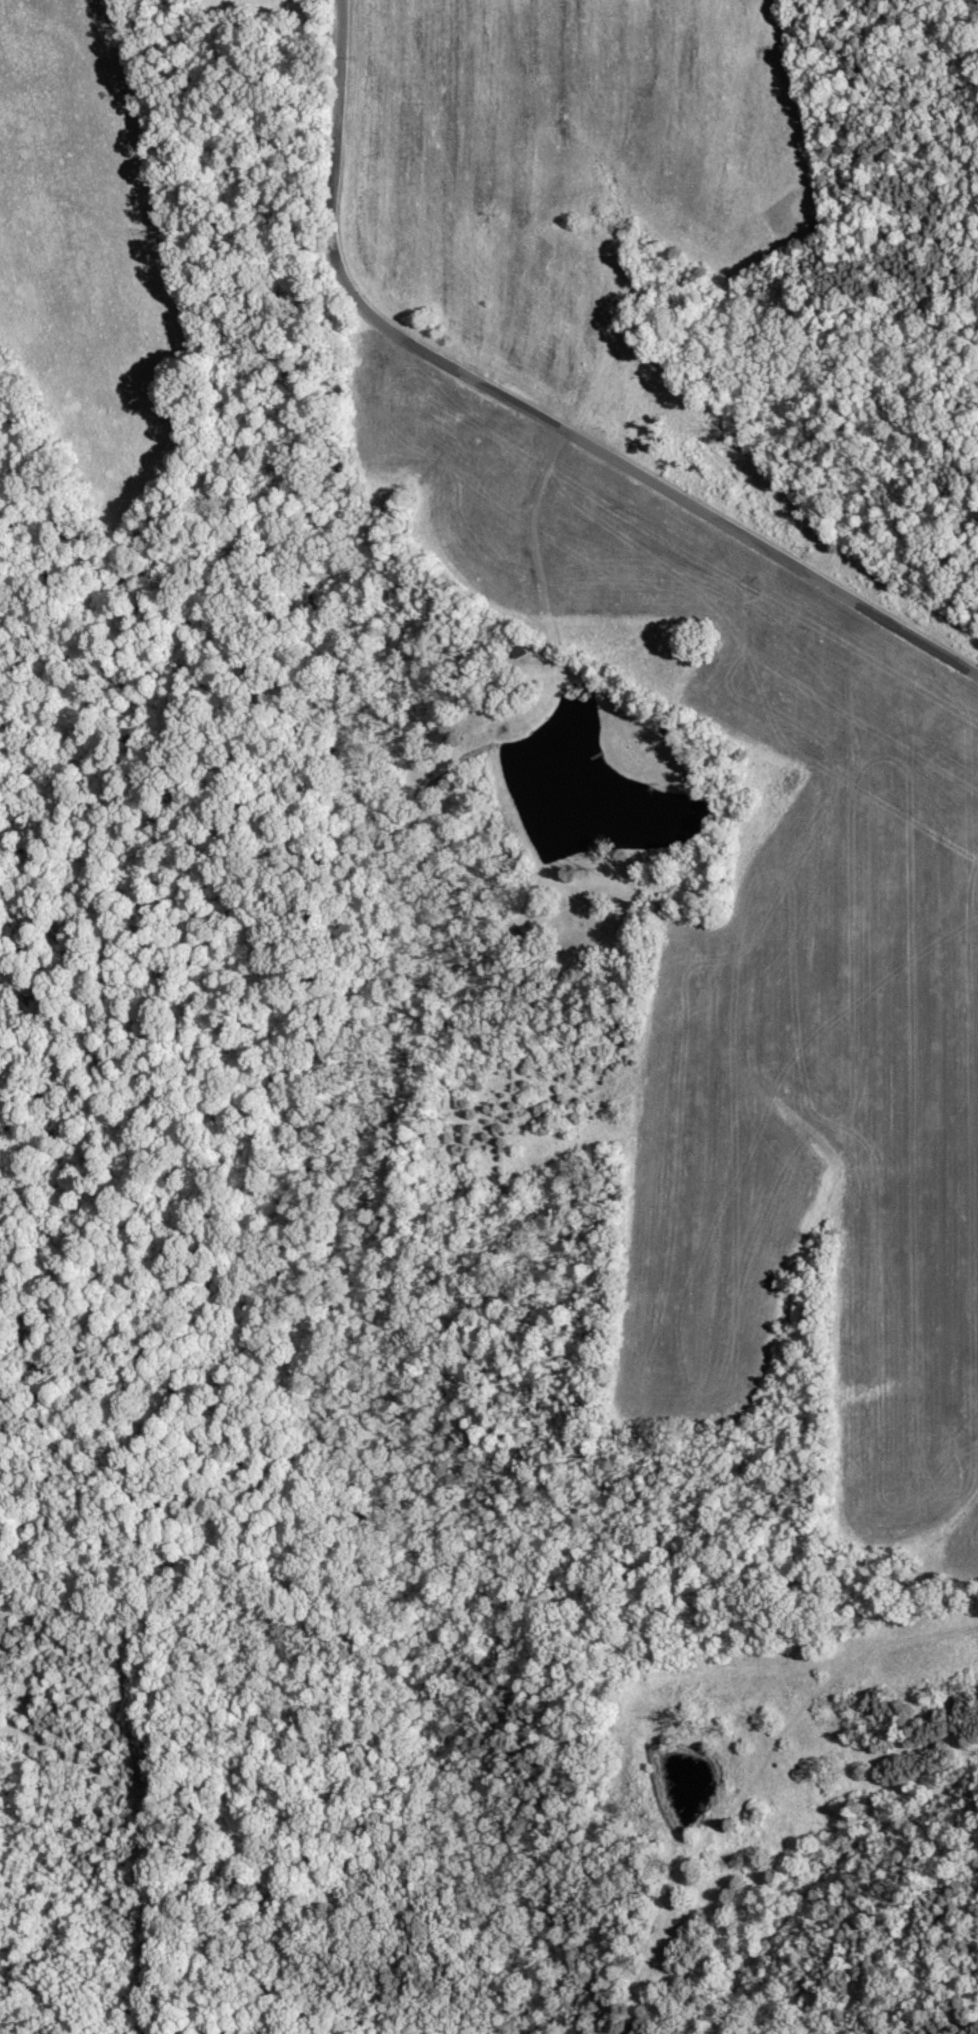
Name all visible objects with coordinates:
road: (528, 413)
road: (818, 1879)

